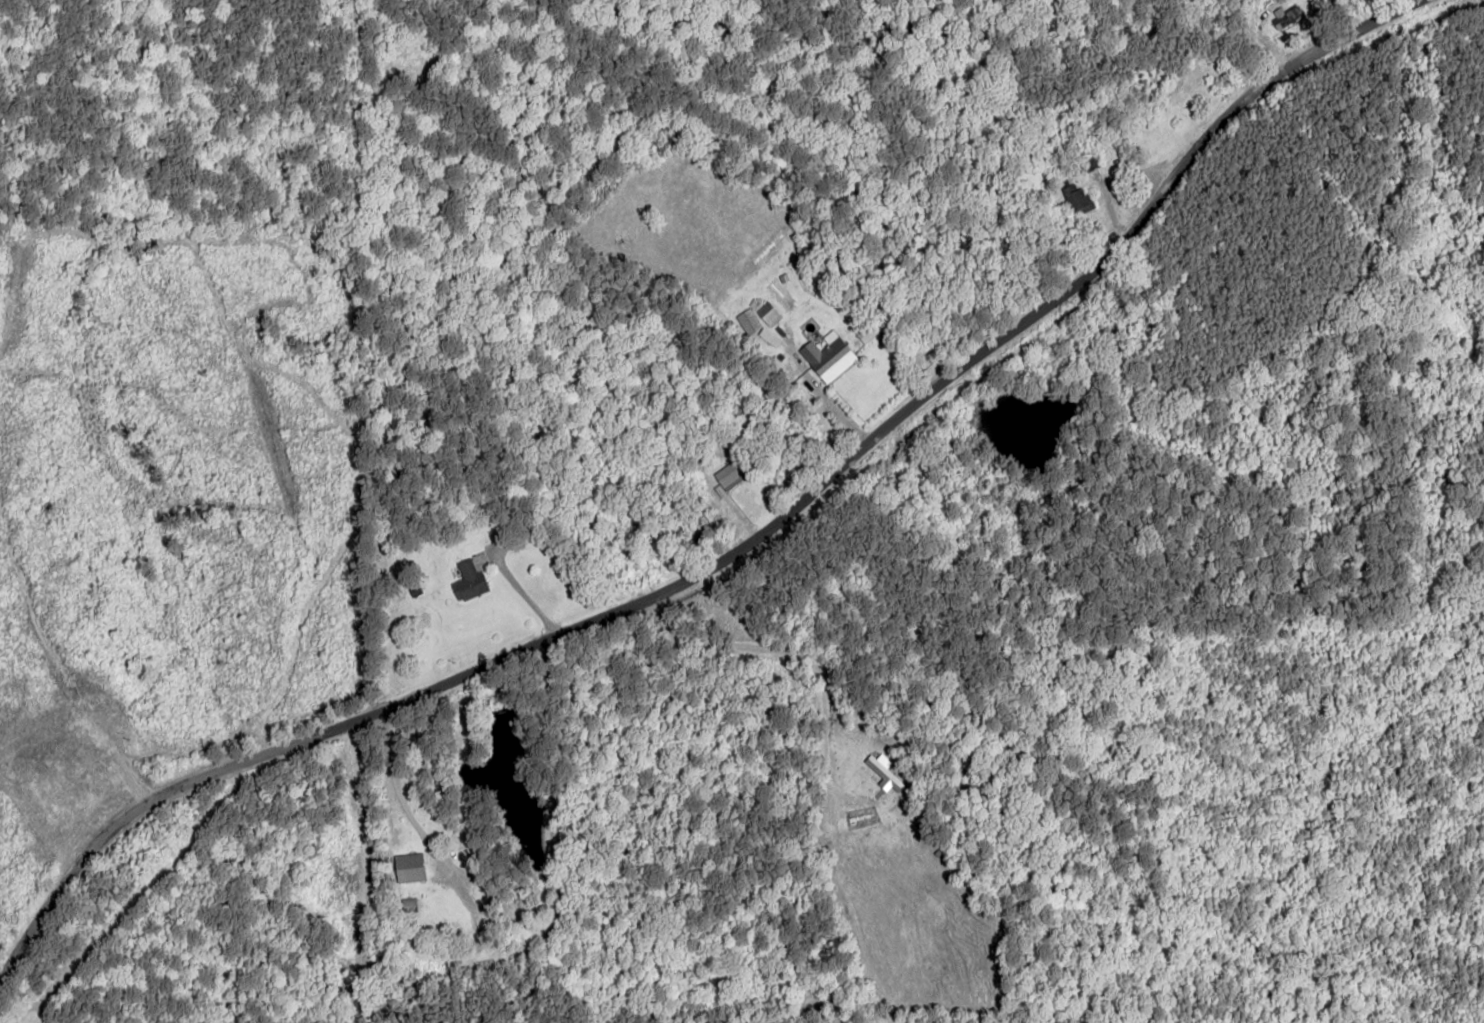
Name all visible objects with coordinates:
building: (1288, 17)
building: (1077, 197)
building: (767, 313)
building: (827, 356)
building: (727, 476)
road: (733, 546)
building: (468, 581)
building: (883, 773)
building: (408, 866)

